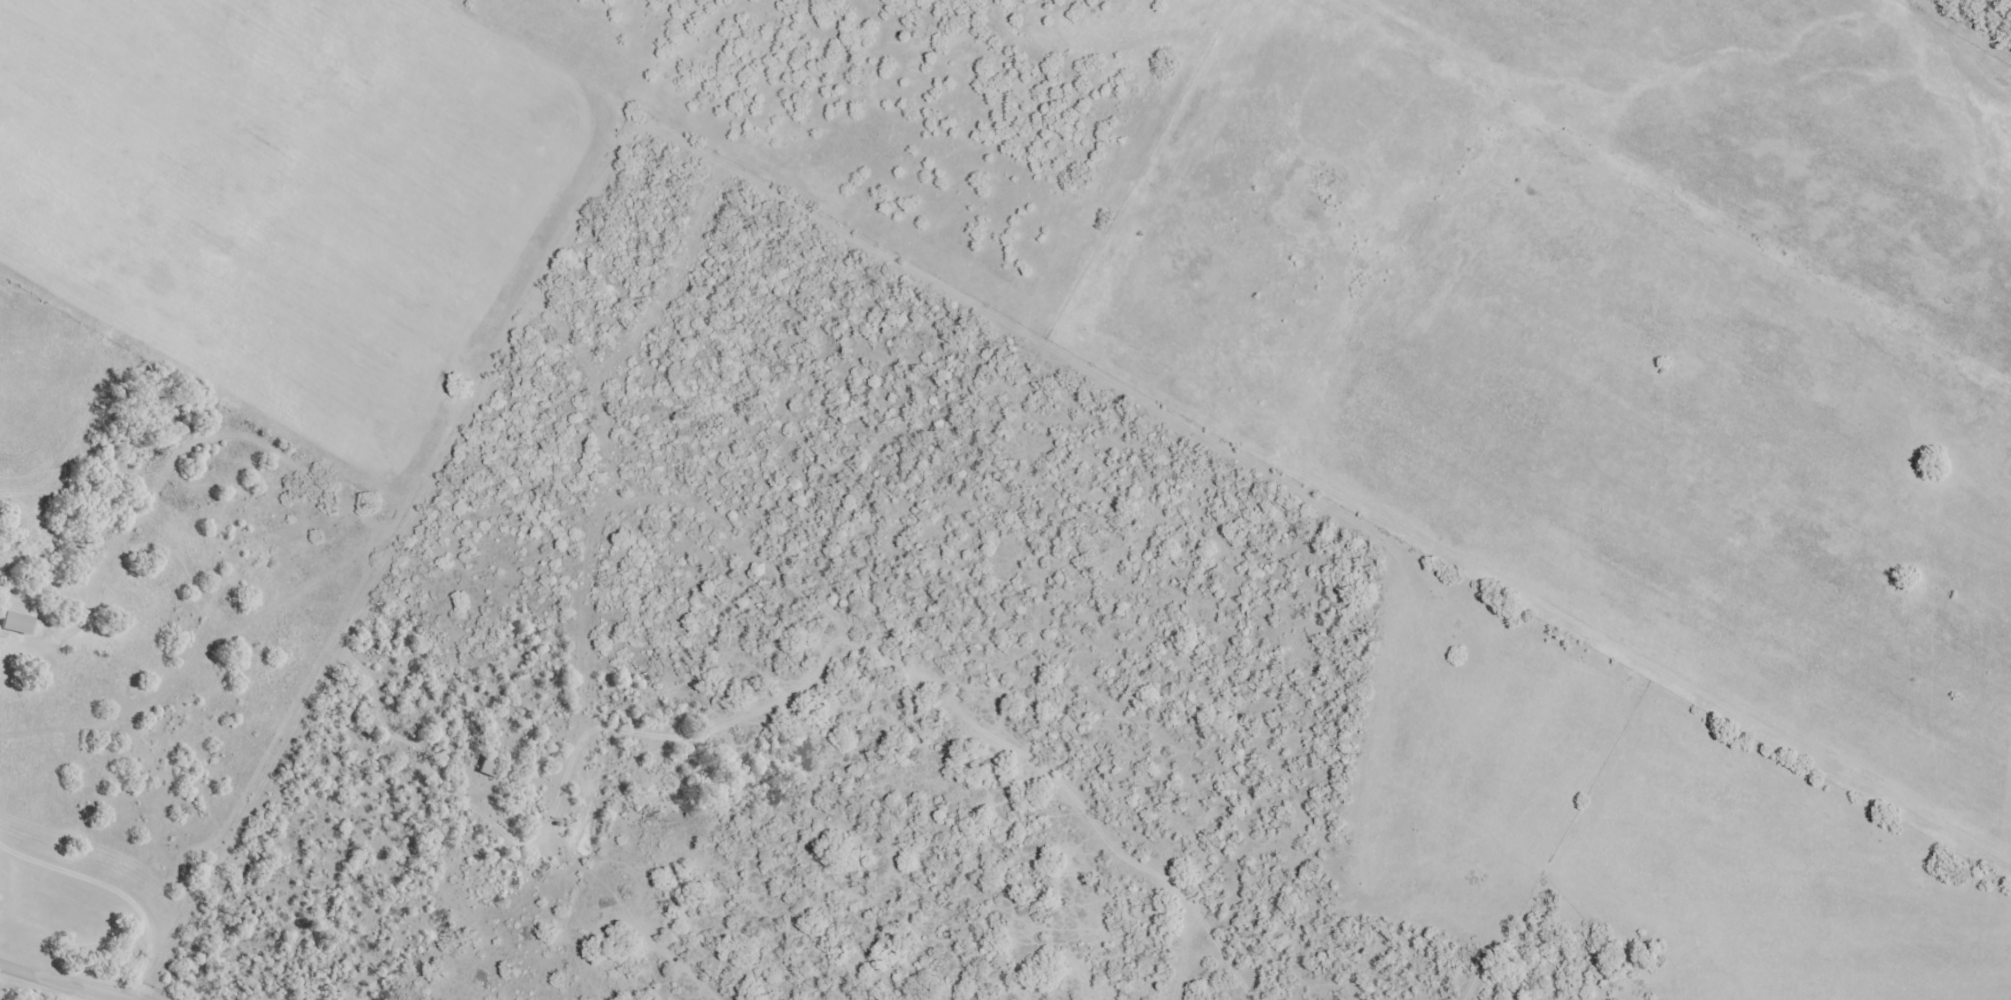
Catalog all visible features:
road: (377, 571)
building: (16, 621)
road: (1, 656)
building: (488, 765)
road: (120, 890)
road: (66, 981)

